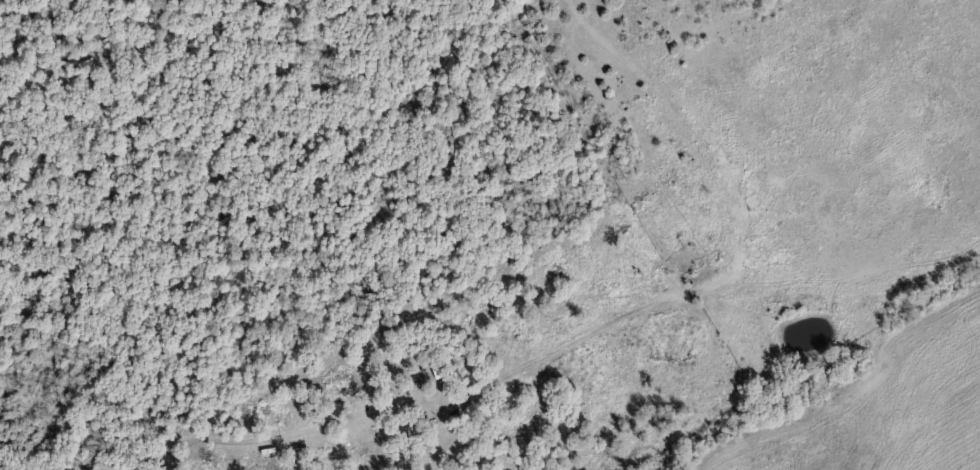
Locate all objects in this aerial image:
road: (934, 433)

